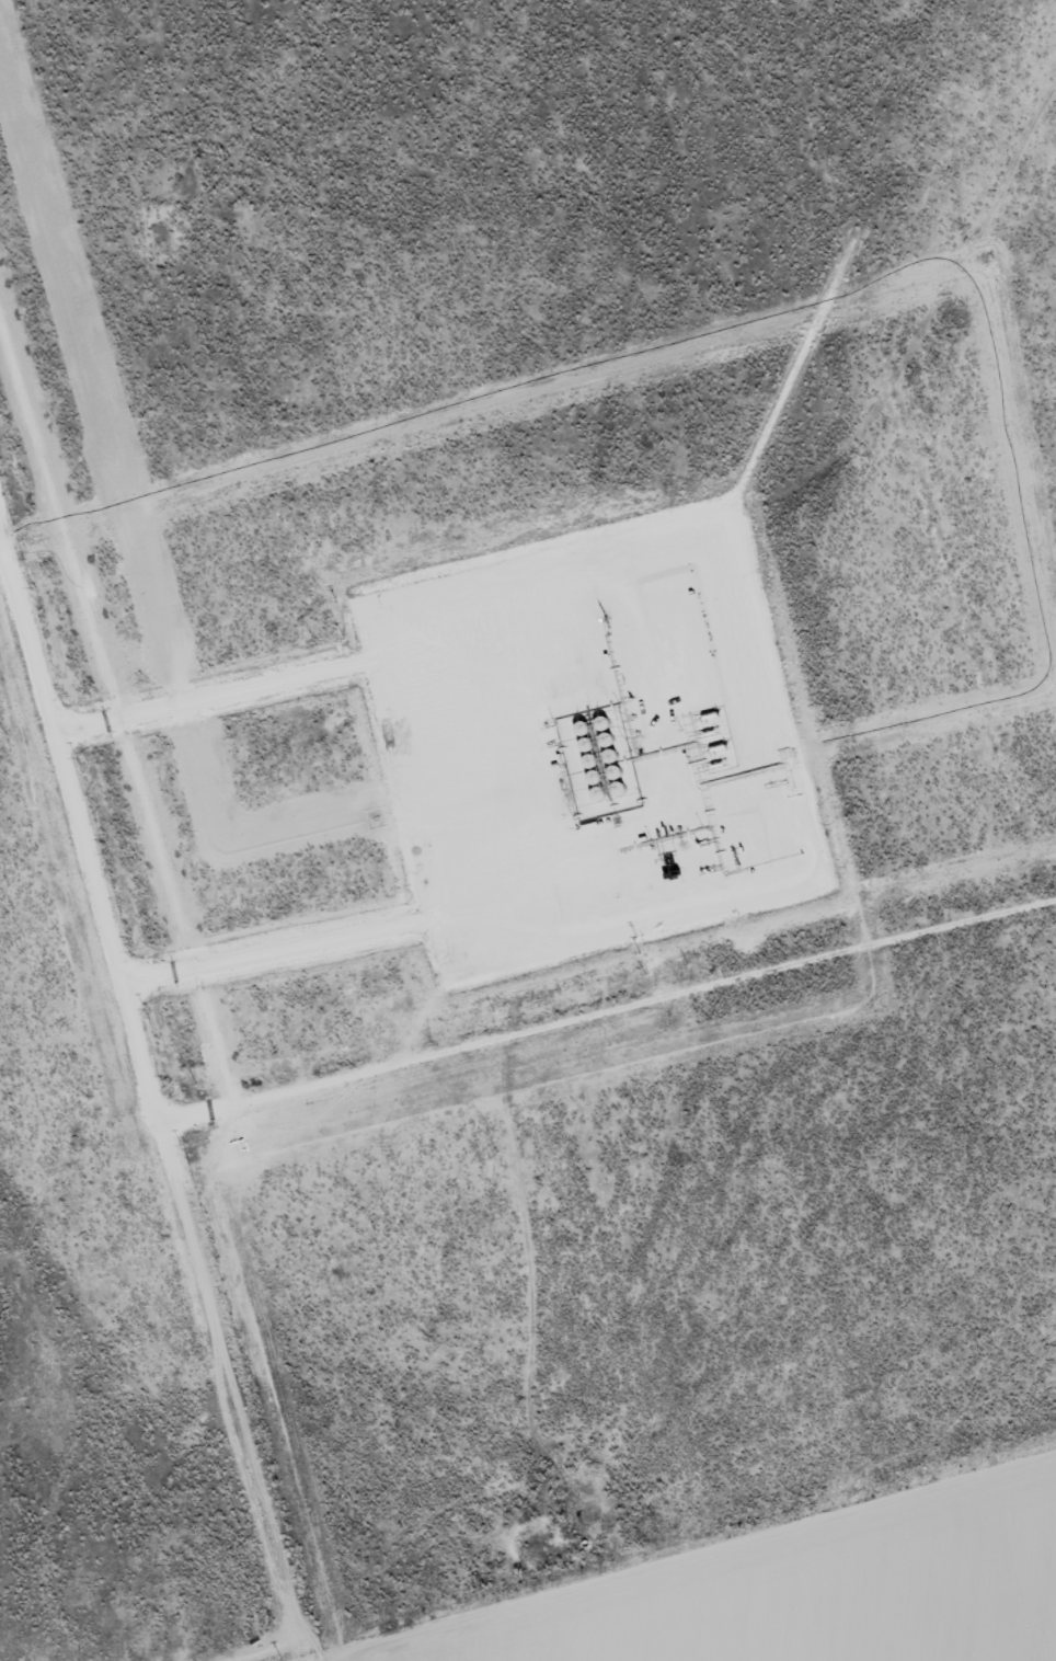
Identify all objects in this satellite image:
road: (531, 818)
road: (151, 1134)
road: (955, 1600)
road: (321, 1640)

